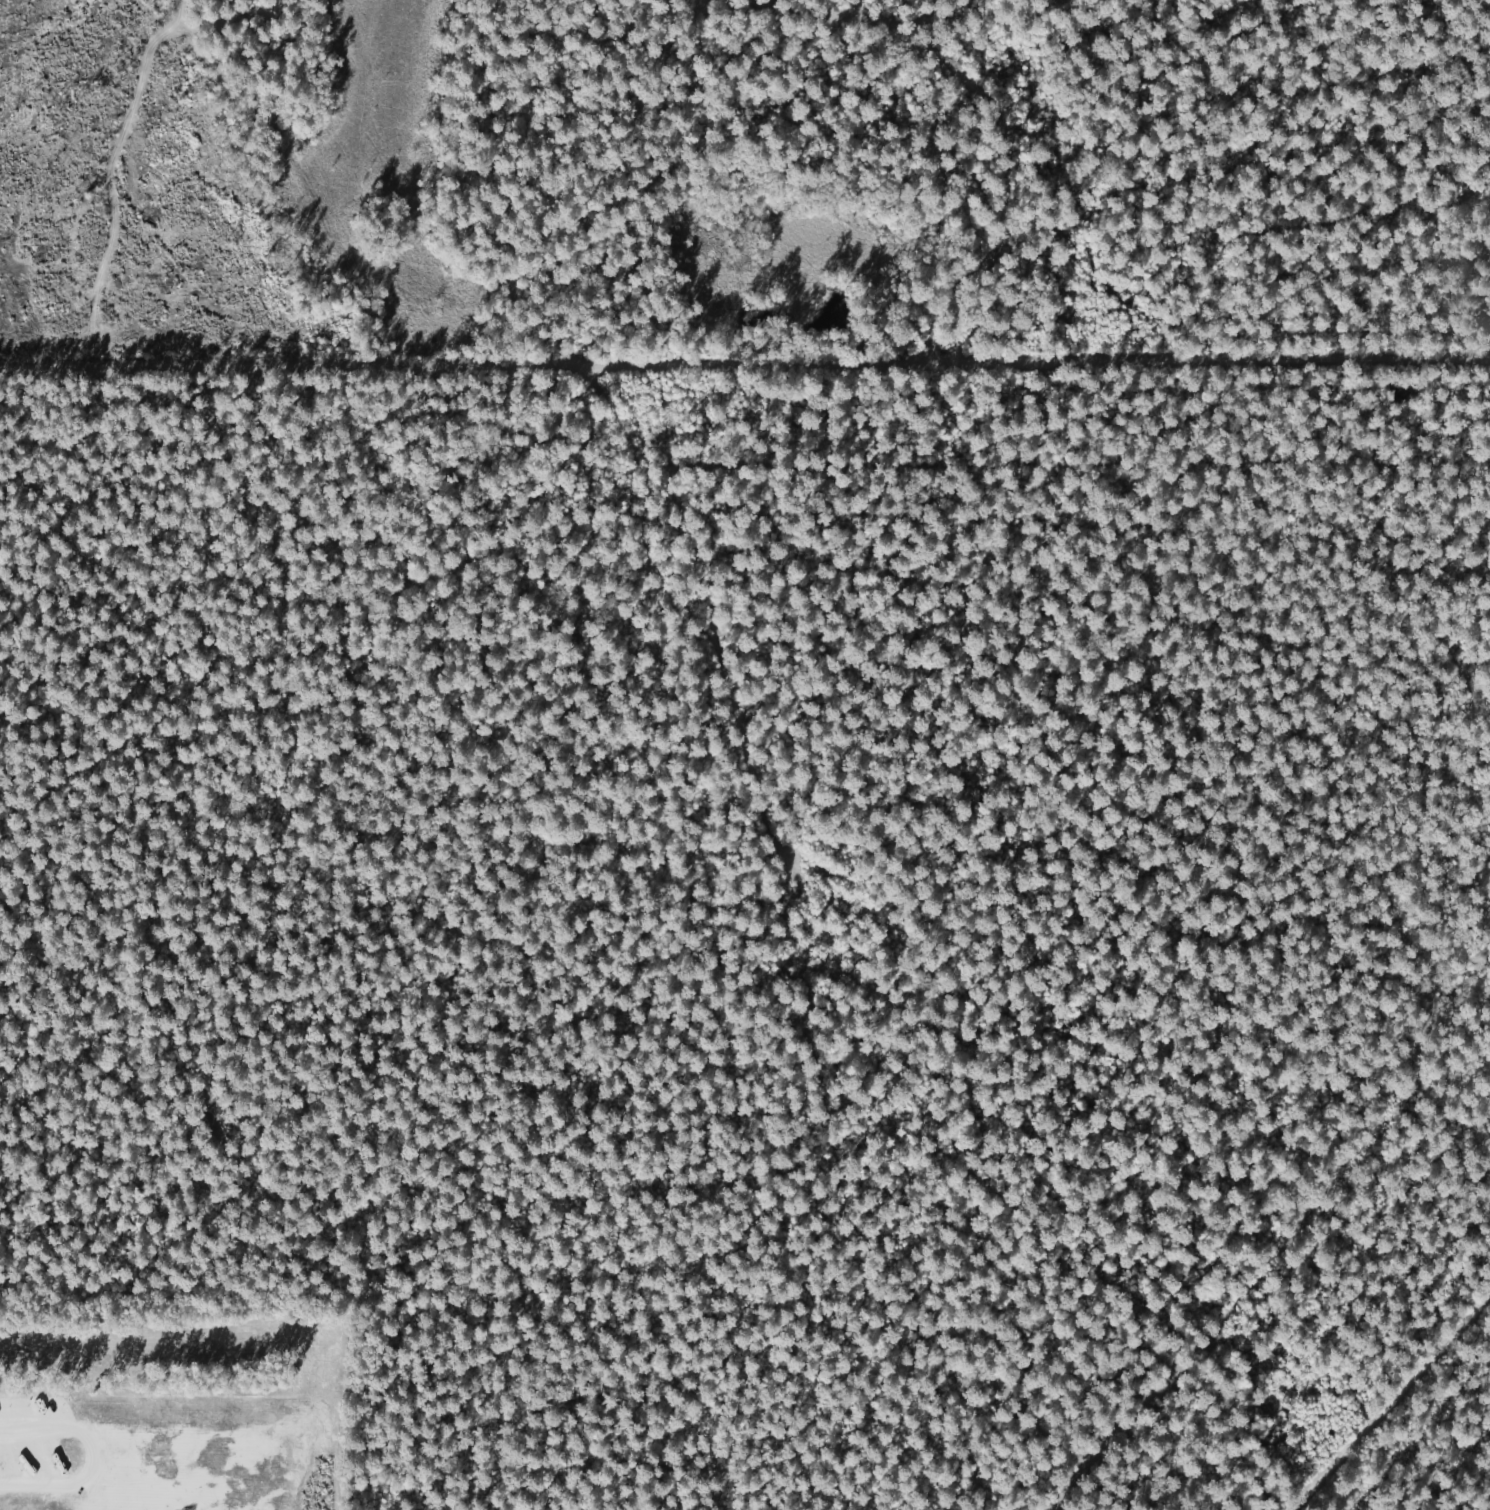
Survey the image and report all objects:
road: (745, 370)
road: (1388, 1398)

